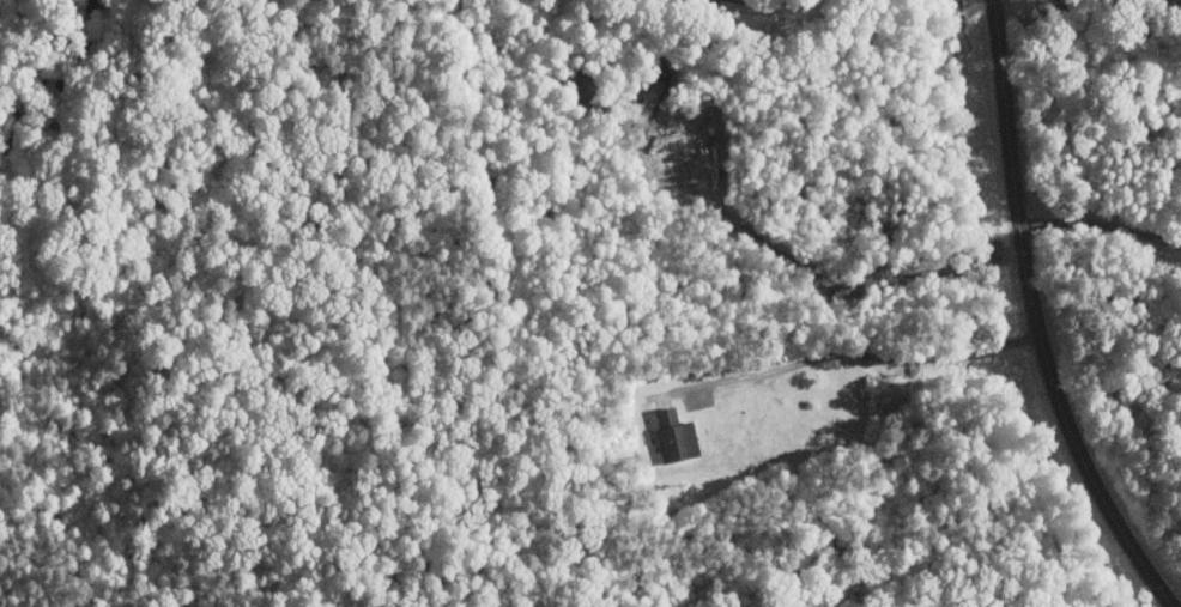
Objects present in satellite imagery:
road: (750, 0)
road: (1018, 10)
road: (1101, 225)
road: (862, 279)
road: (1034, 318)
road: (849, 356)
building: (678, 437)

